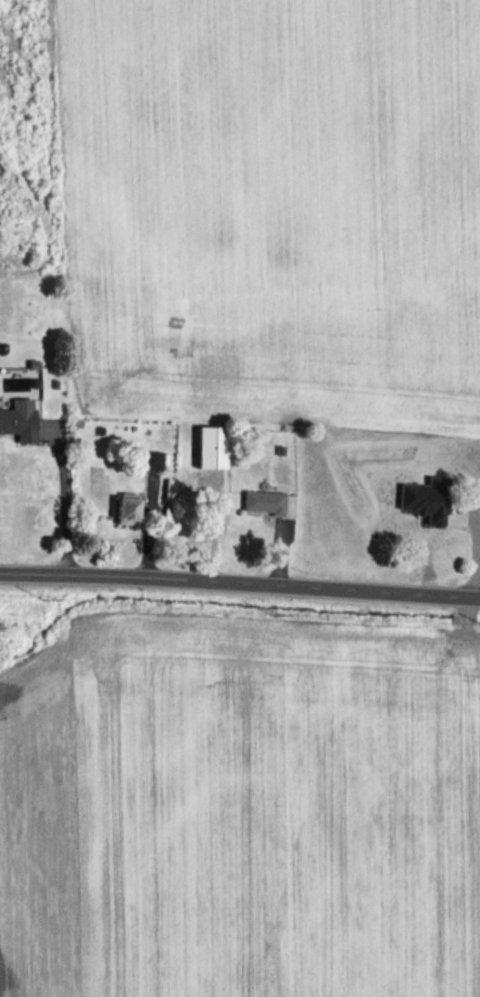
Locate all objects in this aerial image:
building: (19, 419)
building: (210, 447)
building: (150, 459)
road: (61, 498)
building: (425, 499)
building: (263, 501)
building: (126, 508)
road: (240, 581)

